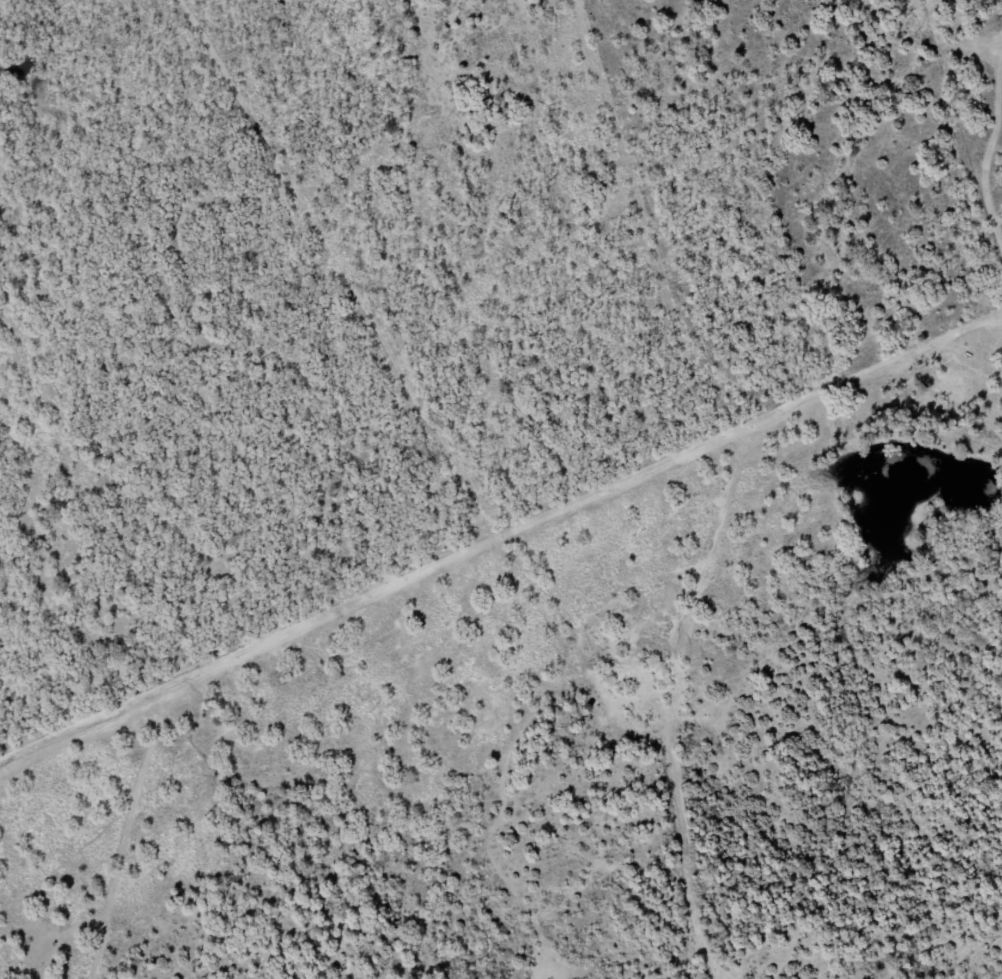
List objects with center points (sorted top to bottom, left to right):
road: (724, 38)
road: (140, 81)
road: (699, 578)

